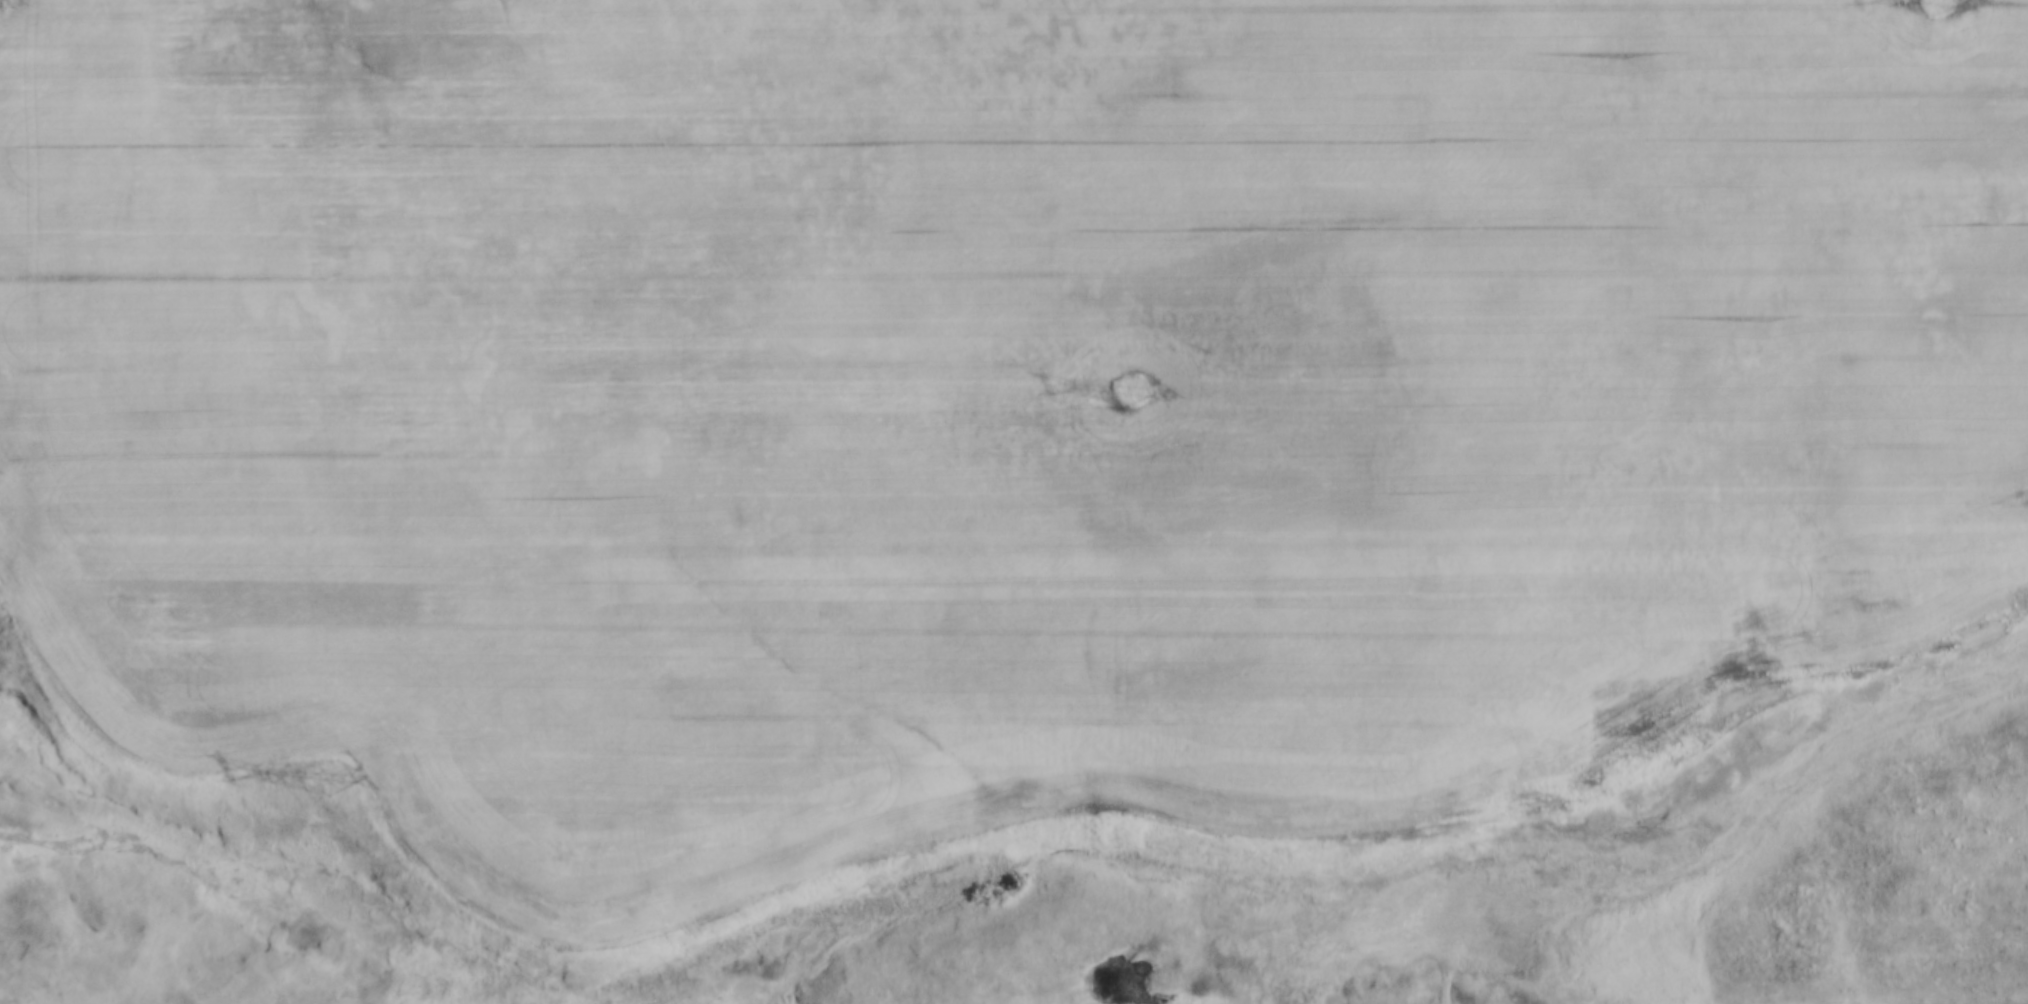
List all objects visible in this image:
power tower: (1947, 8)
power tower: (1145, 390)
power tower: (327, 772)

